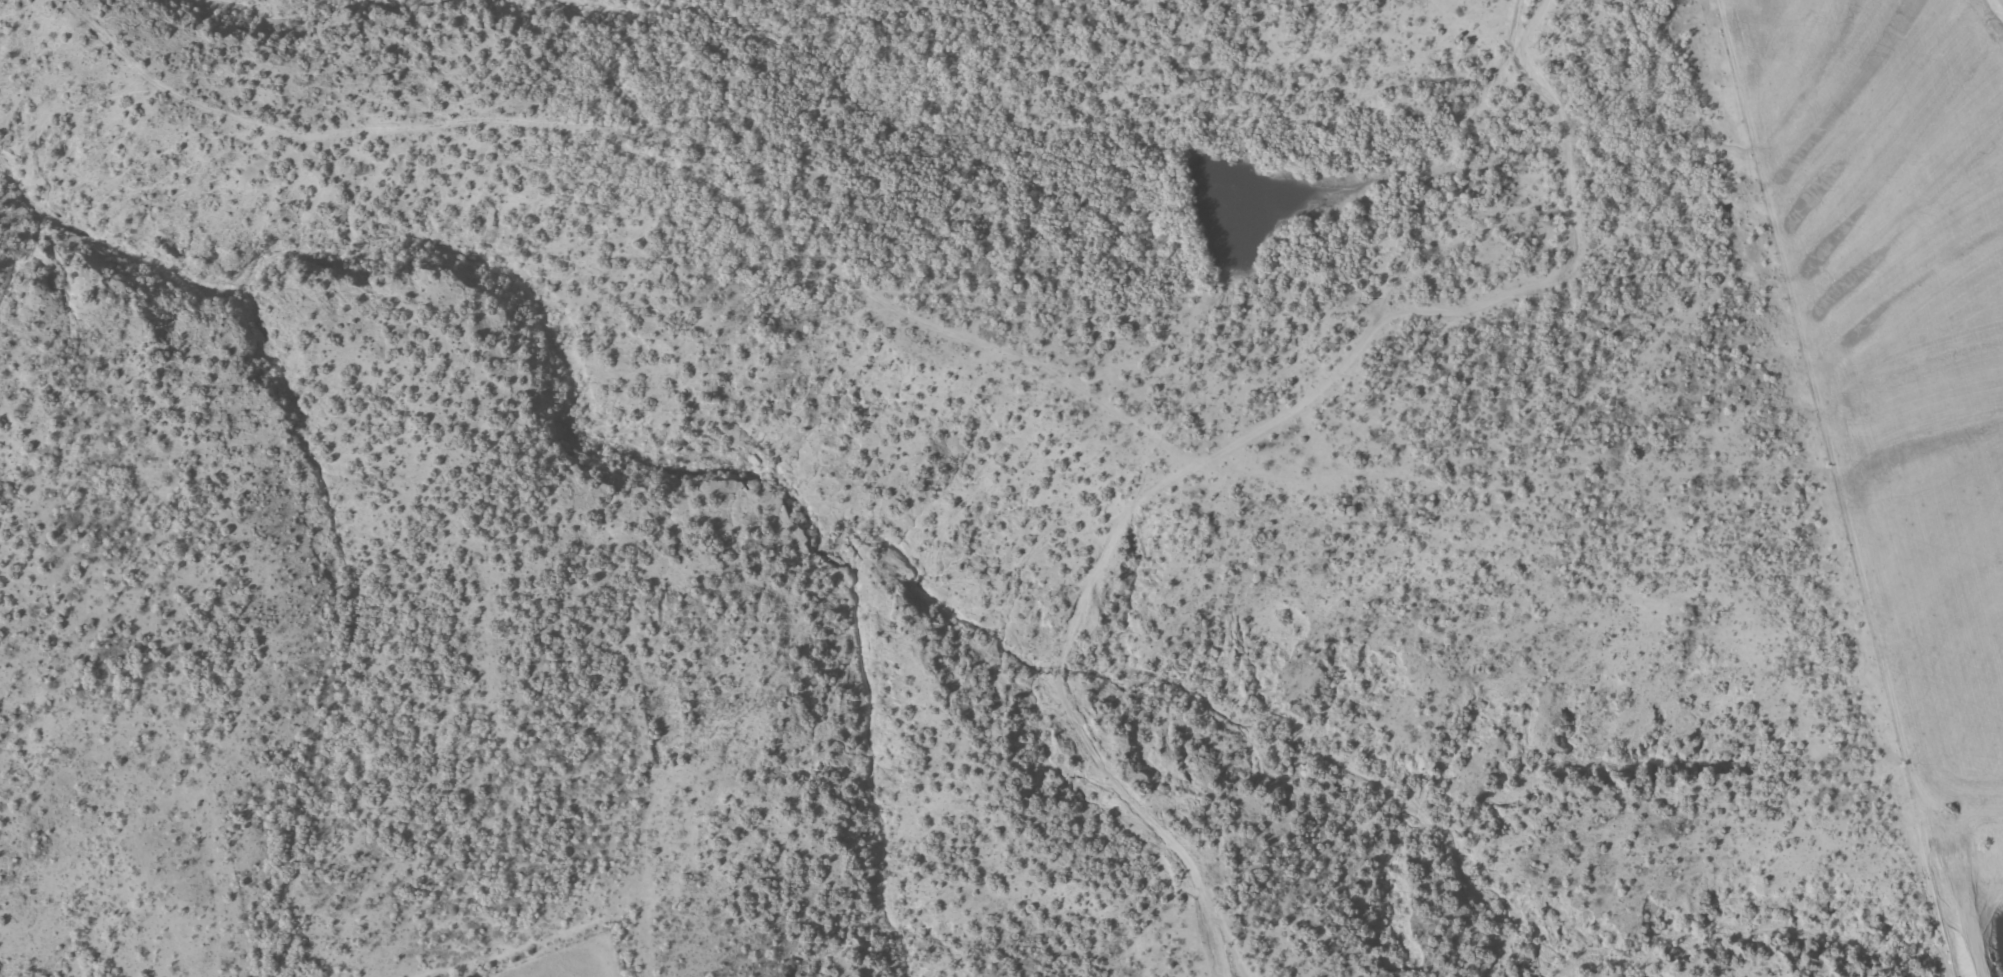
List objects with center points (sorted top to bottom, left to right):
road: (1803, 432)

